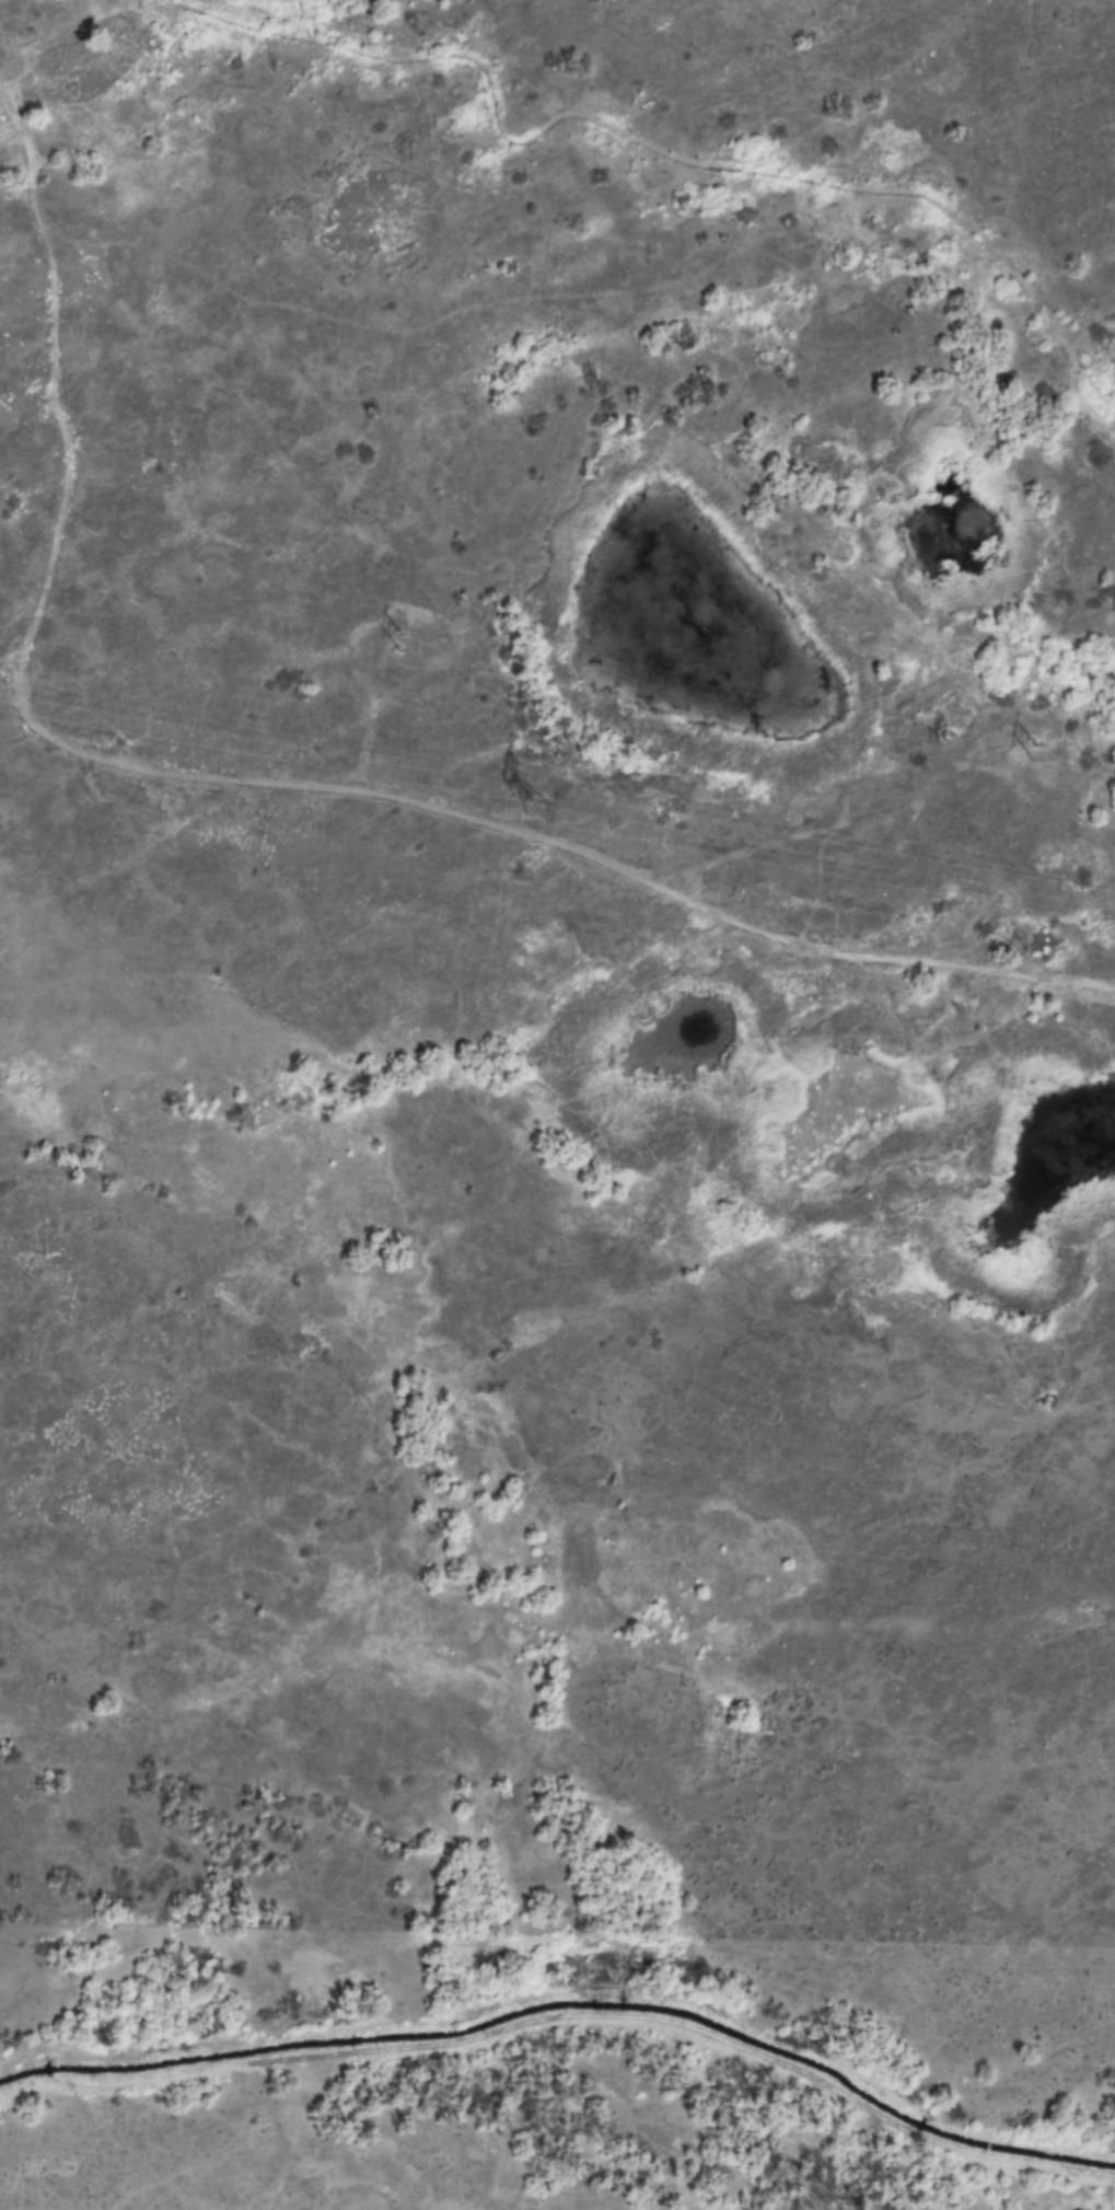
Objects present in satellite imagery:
power tower: (554, 798)

